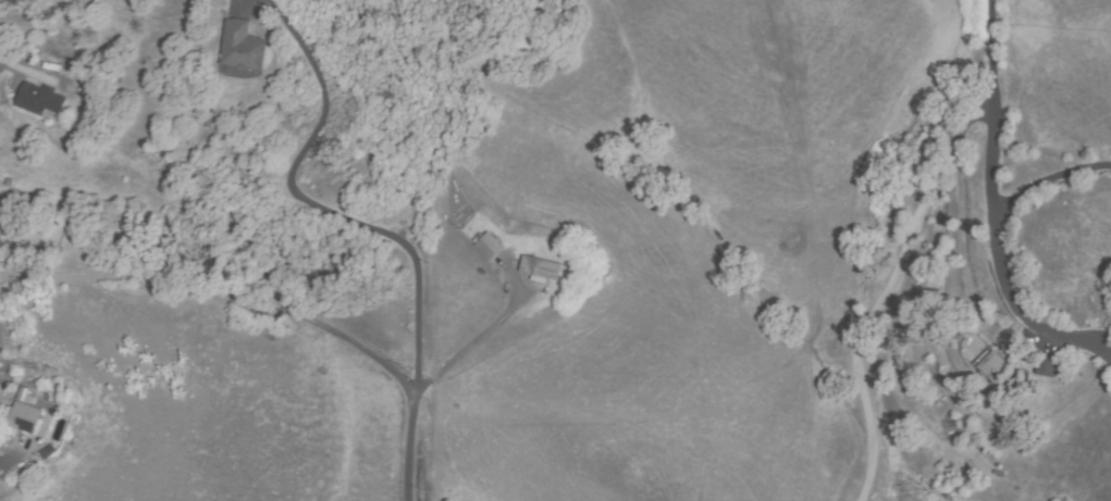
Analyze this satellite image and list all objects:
building: (240, 48)
building: (40, 99)
road: (992, 221)
building: (487, 247)
building: (540, 270)
road: (888, 286)
road: (264, 304)
building: (1046, 366)
building: (997, 371)
building: (24, 394)
building: (8, 410)
building: (26, 418)
building: (48, 452)

